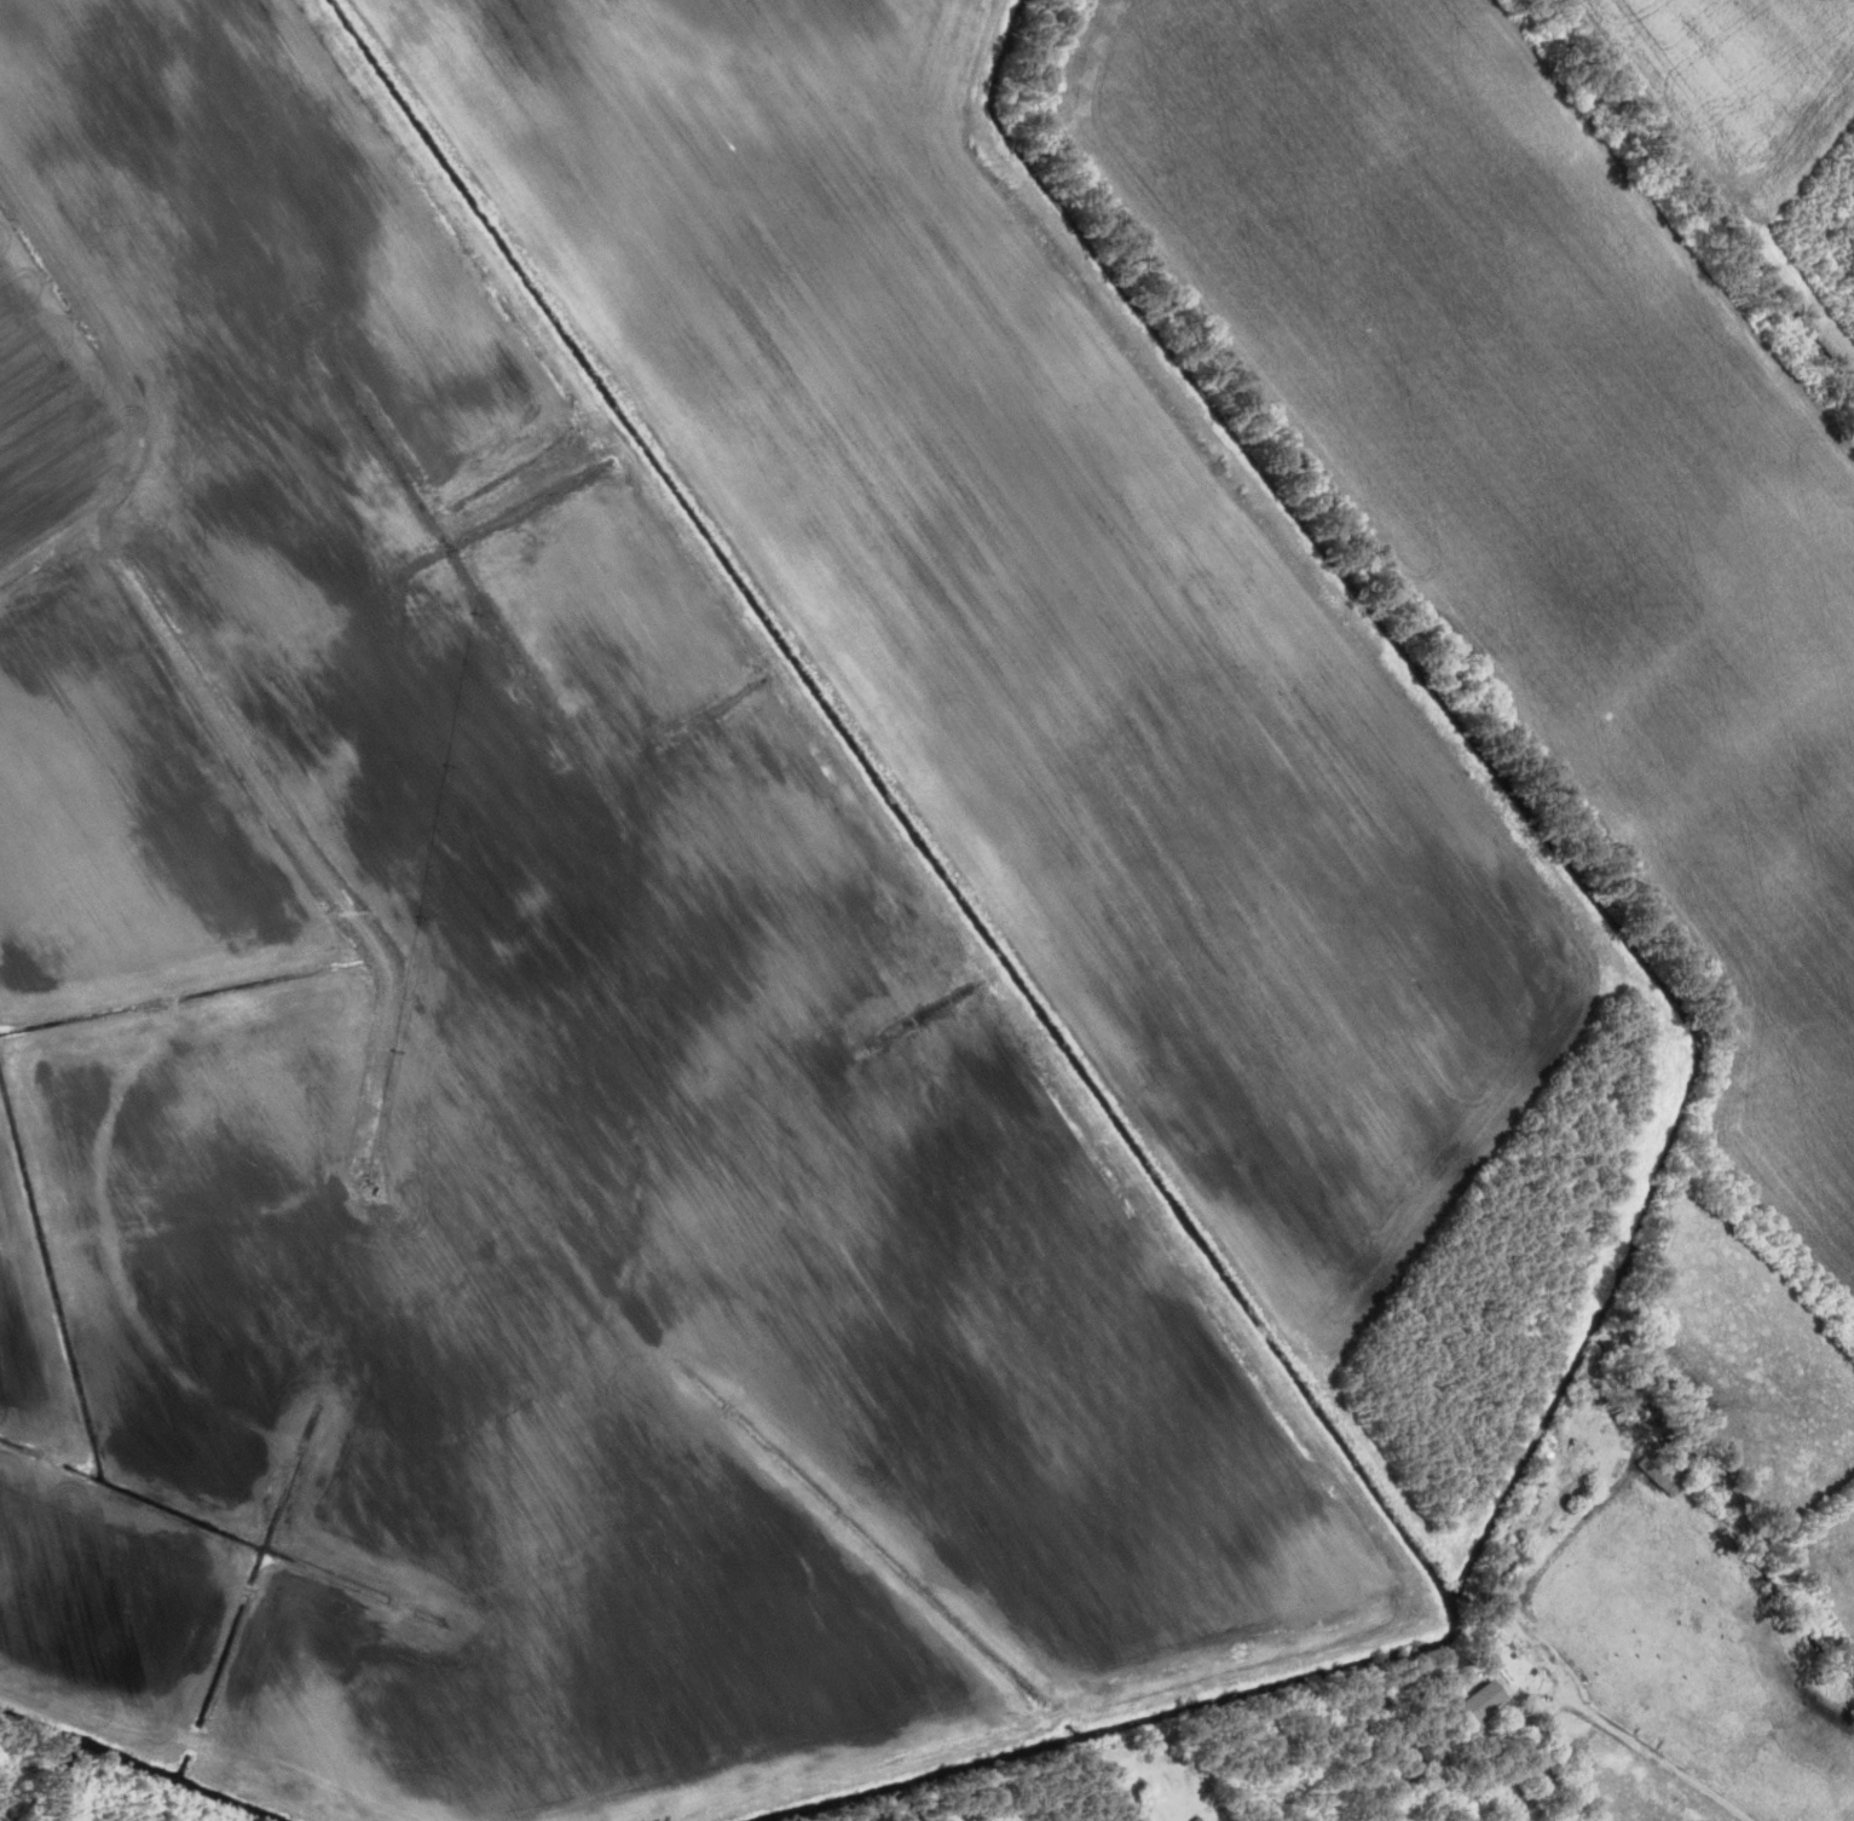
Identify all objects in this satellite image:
building: (1472, 1707)
building: (1282, 1792)

